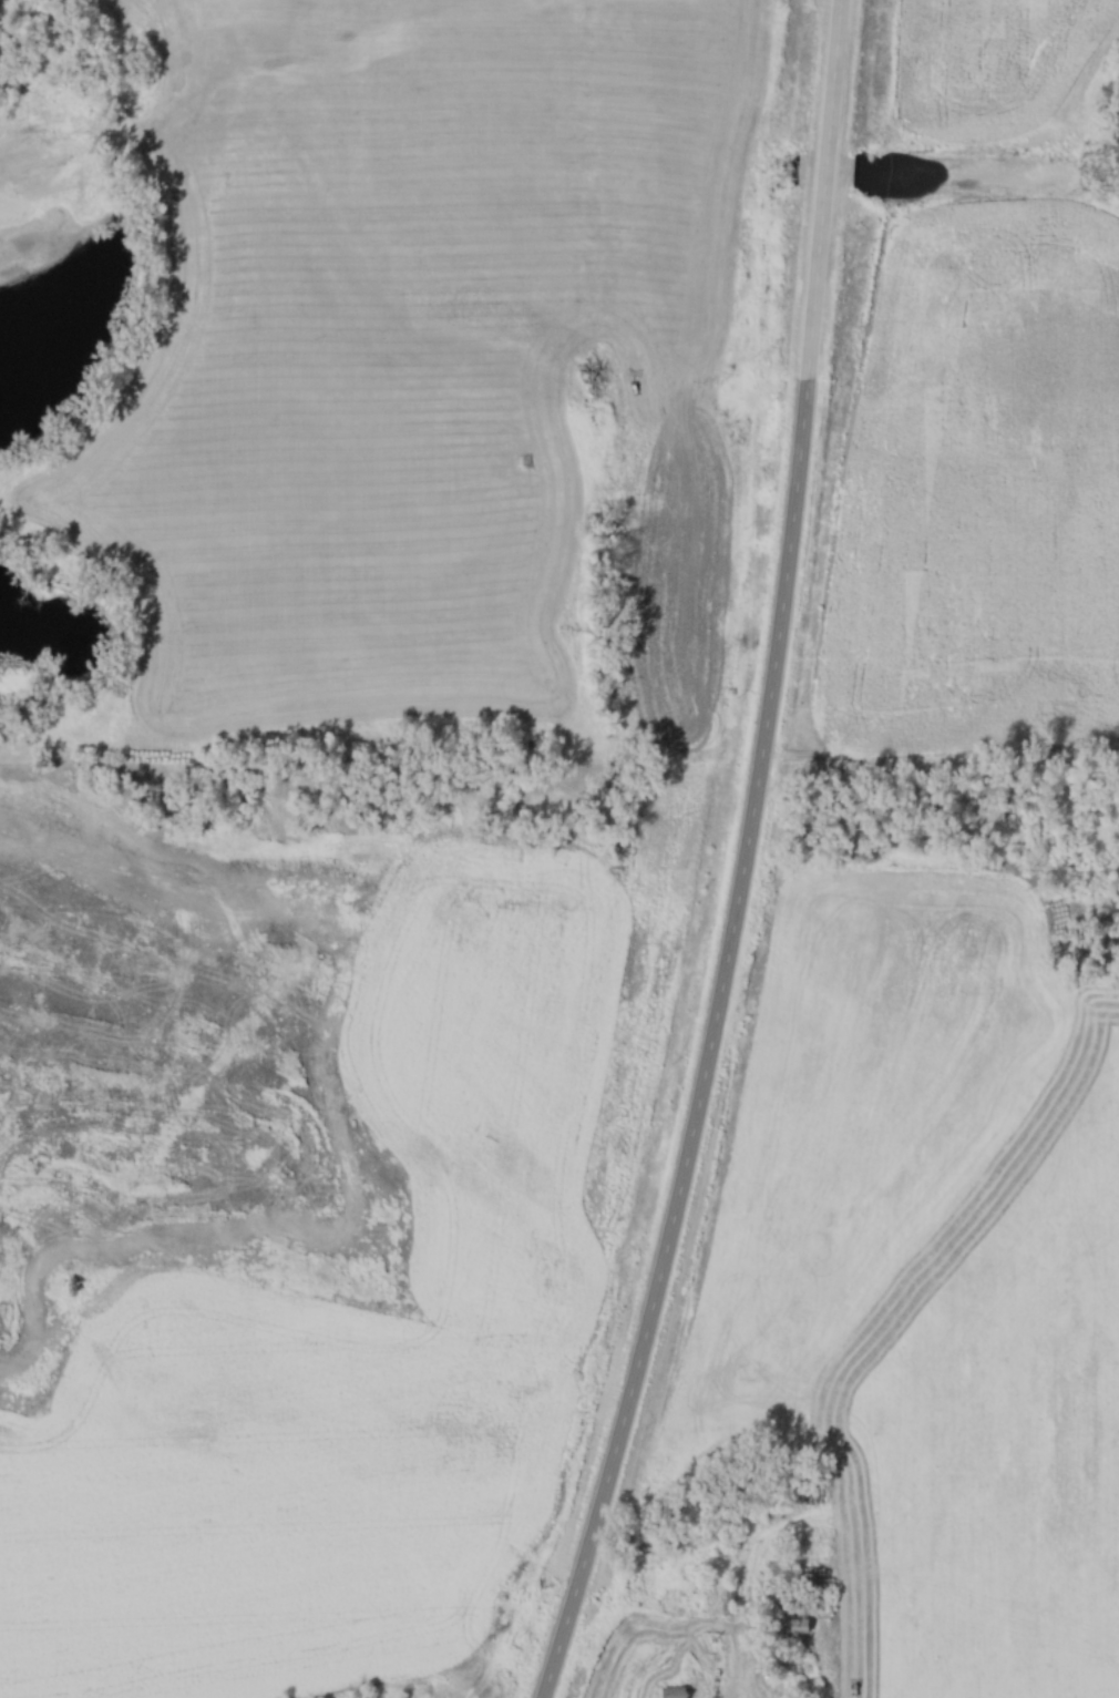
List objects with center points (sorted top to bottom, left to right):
road: (747, 859)
building: (729, 1596)
building: (792, 1635)
road: (659, 1644)
building: (669, 1696)

